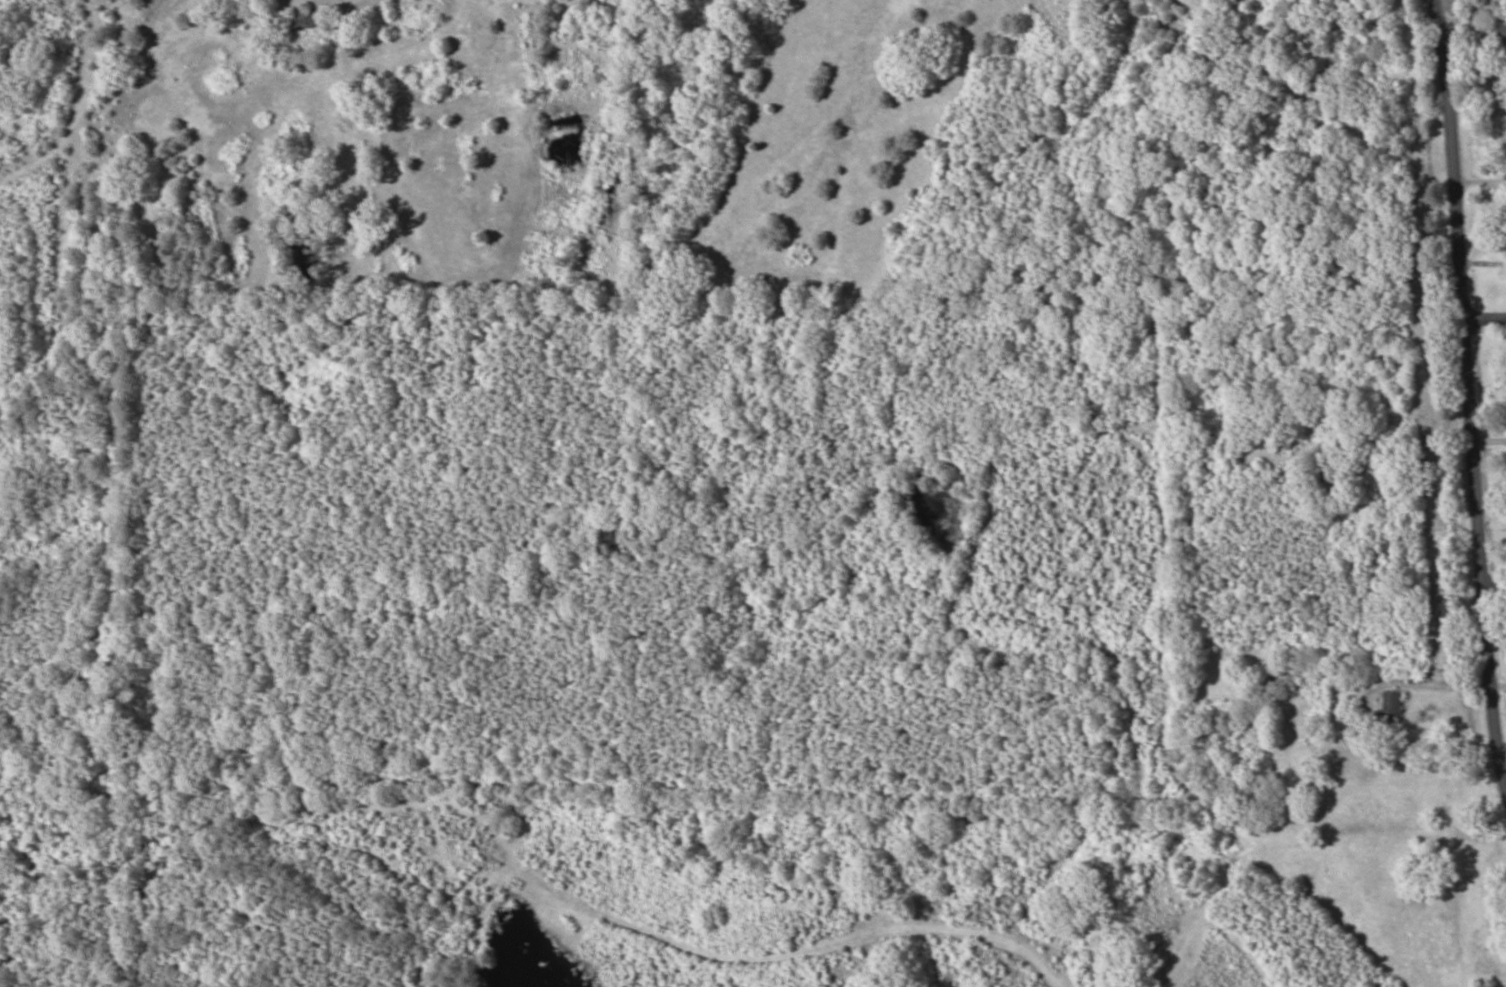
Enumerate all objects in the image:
building: (305, 20)
building: (1502, 32)
road: (1494, 315)
road: (1482, 328)
building: (1392, 708)

